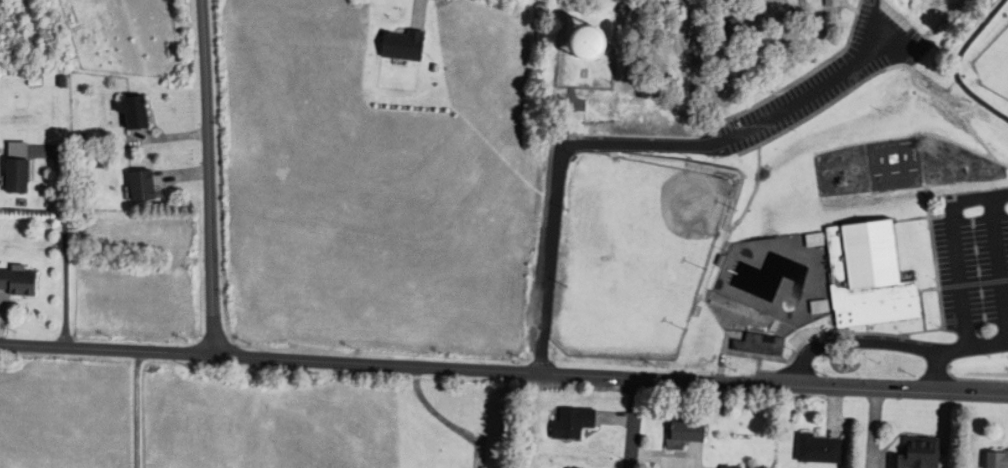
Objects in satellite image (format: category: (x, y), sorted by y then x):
building: (838, 3)
building: (612, 41)
building: (406, 46)
building: (138, 114)
road: (624, 143)
road: (210, 176)
building: (21, 177)
building: (144, 187)
park: (772, 190)
road: (65, 230)
road: (956, 248)
building: (874, 276)
building: (20, 283)
road: (855, 342)
building: (764, 345)
road: (987, 346)
road: (939, 357)
road: (503, 371)
road: (128, 407)
road: (632, 422)
building: (575, 423)
building: (689, 433)
building: (824, 450)
building: (922, 453)
building: (1000, 460)

